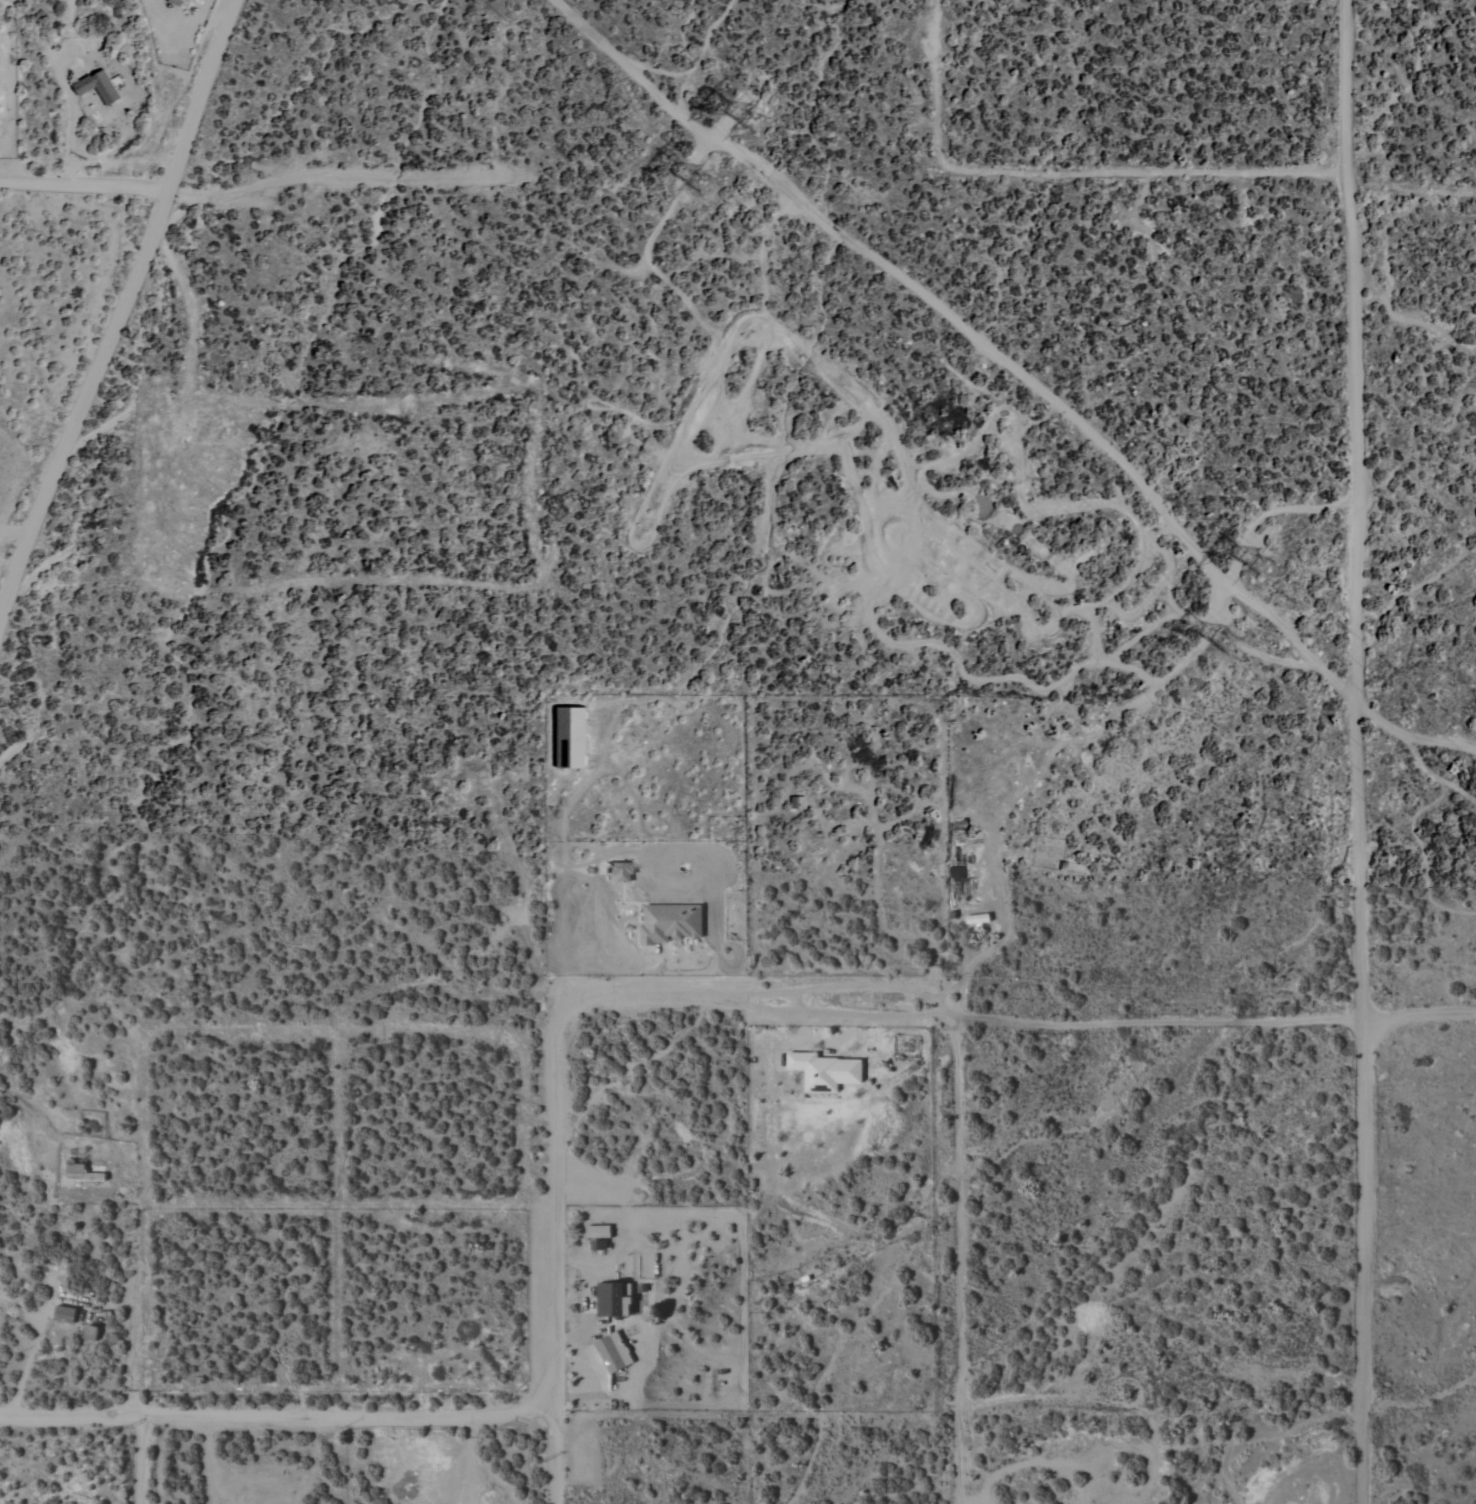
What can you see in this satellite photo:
building: (192, 1)
building: (96, 87)
power tower: (752, 109)
power tower: (699, 184)
road: (87, 185)
road: (122, 303)
road: (1020, 377)
road: (11, 533)
power tower: (1252, 559)
power tower: (1227, 643)
building: (570, 733)
road: (1361, 751)
building: (658, 925)
road: (1022, 1018)
building: (823, 1071)
road: (25, 1105)
road: (556, 1249)
road: (958, 1261)
building: (611, 1300)
road: (589, 1312)
building: (88, 1333)
building: (612, 1352)
road: (25, 1367)
road: (349, 1414)
road: (69, 1416)
road: (467, 1458)
road: (140, 1460)

